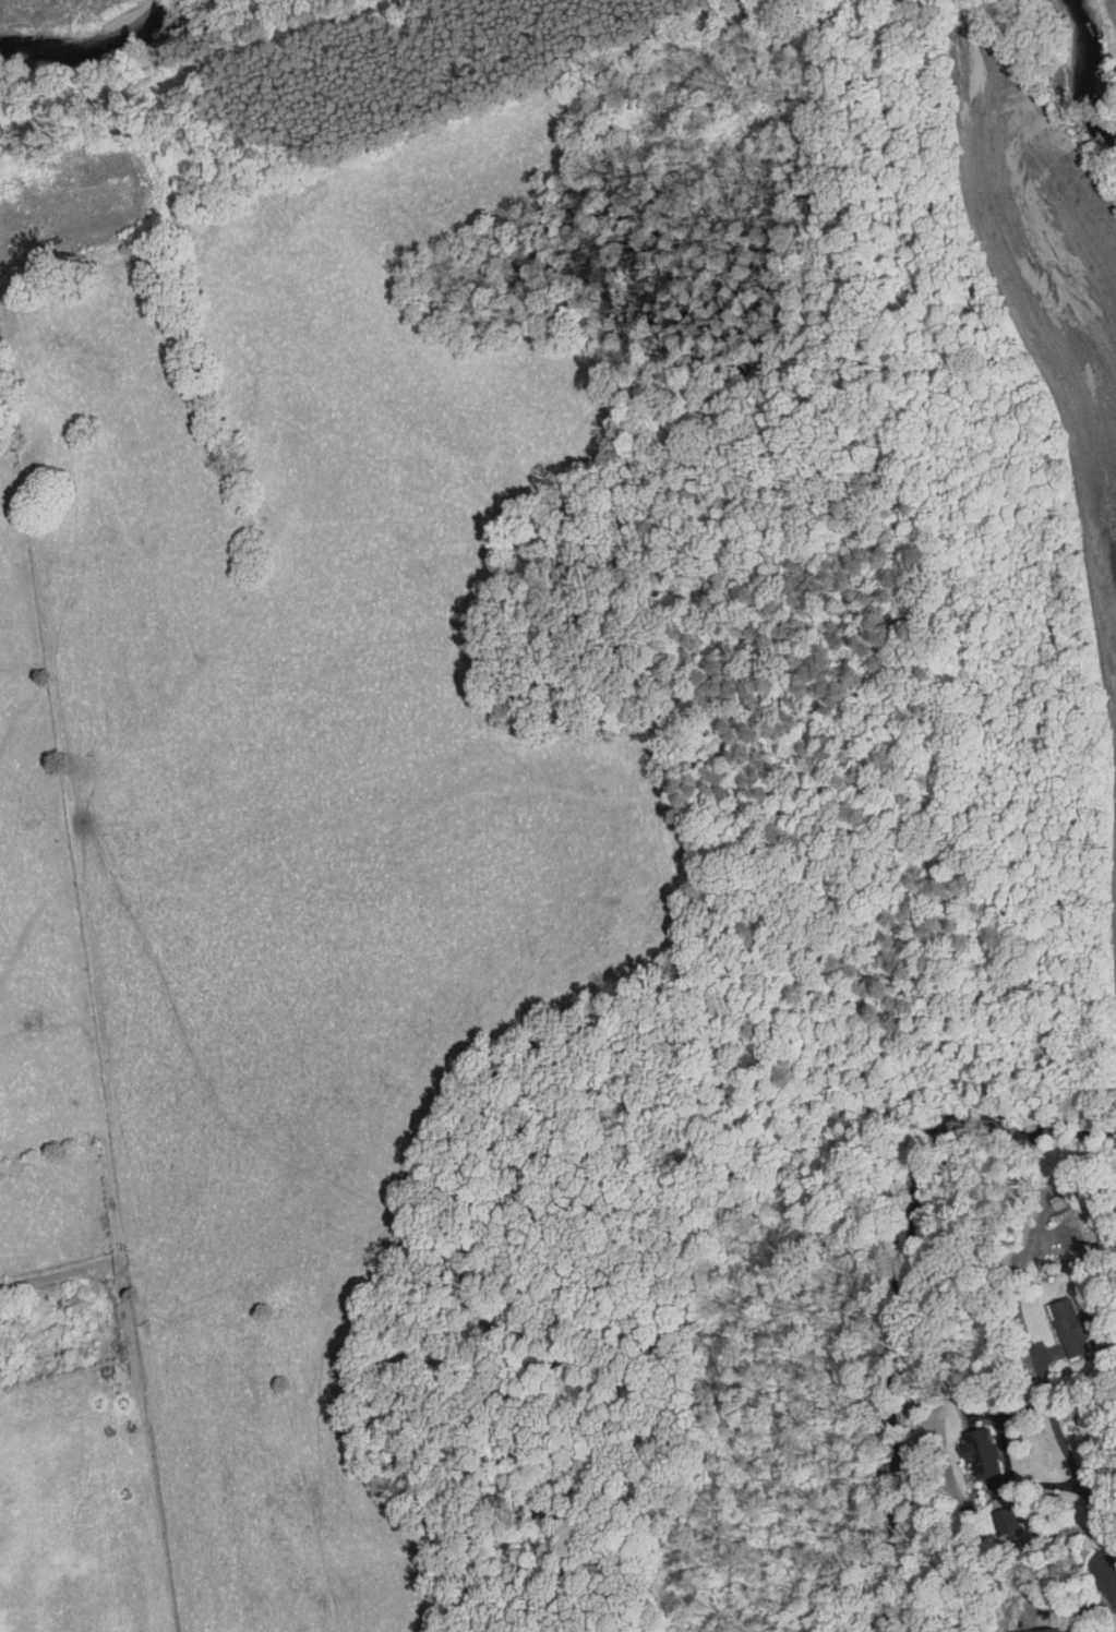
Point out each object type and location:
building: (1064, 1328)
road: (1054, 1418)
building: (973, 1453)
road: (1008, 1461)
building: (999, 1515)
road: (1112, 1574)
building: (1032, 1630)

